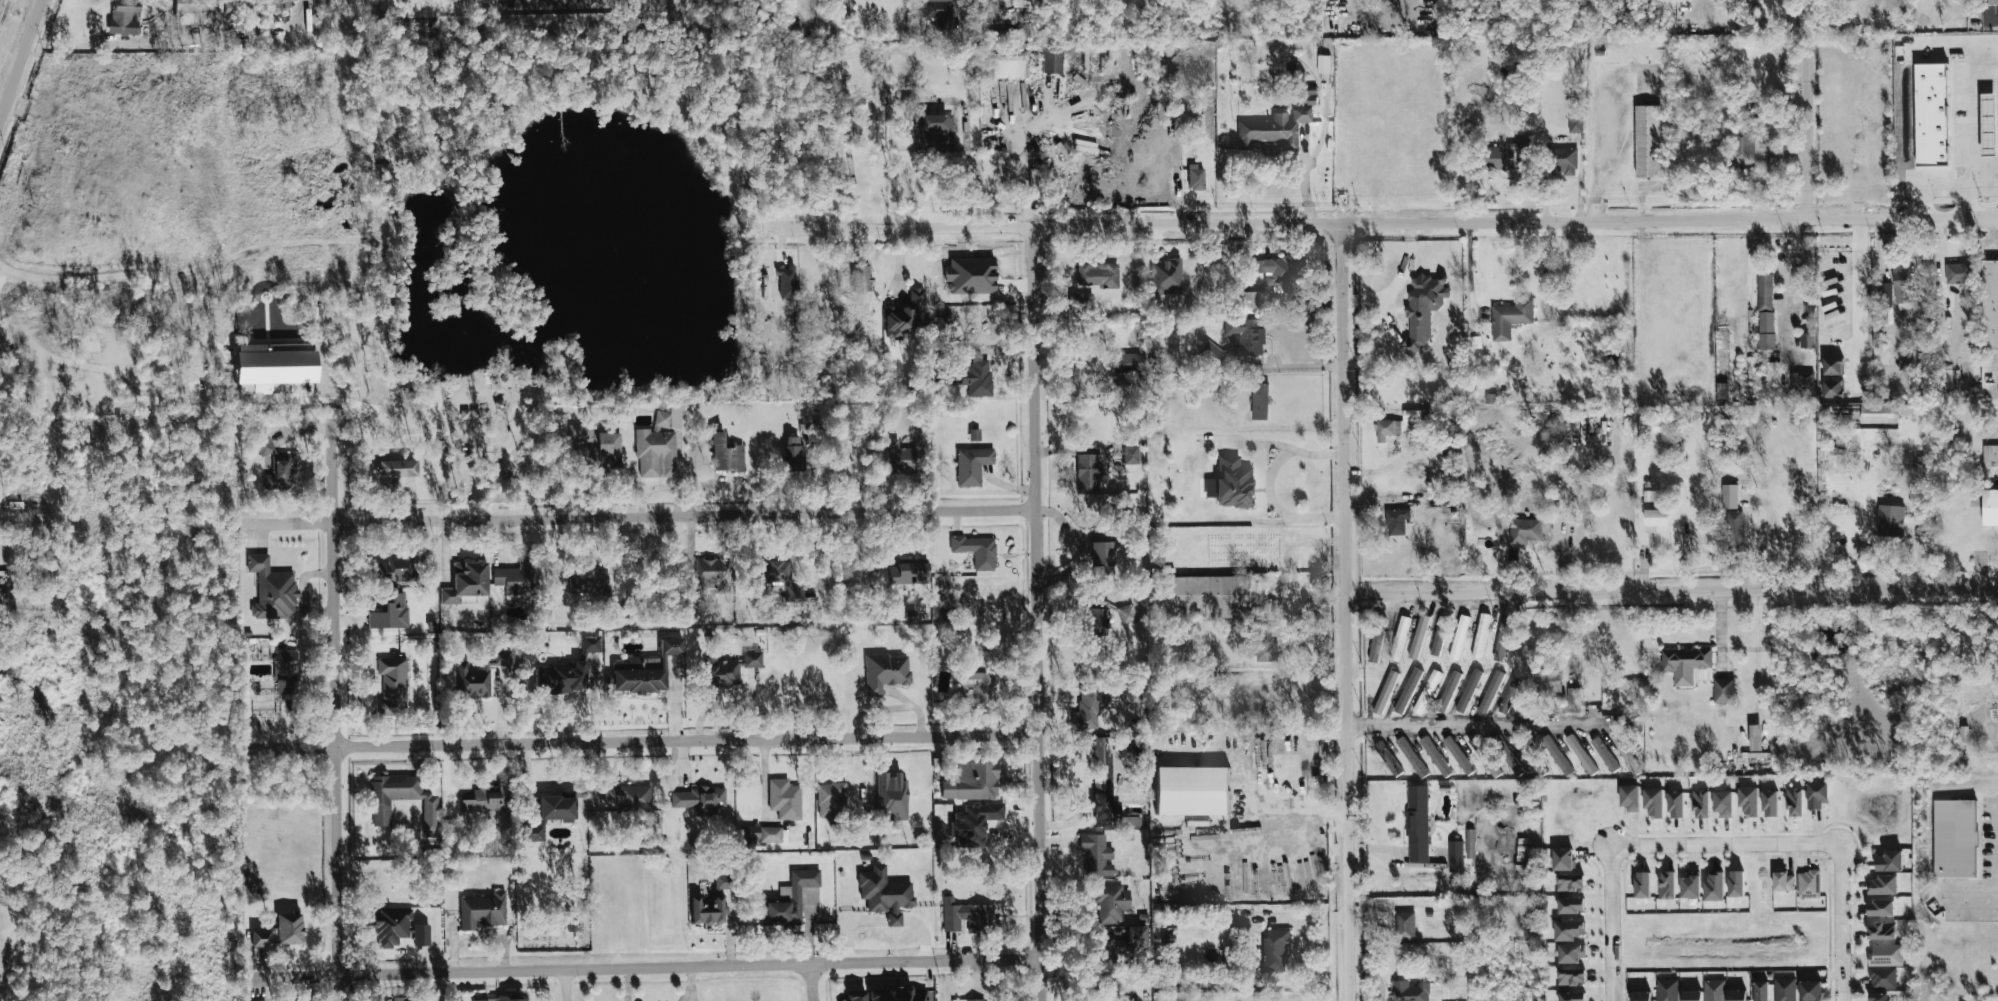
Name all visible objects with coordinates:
building: (1990, 2)
building: (278, 6)
road: (304, 6)
building: (933, 10)
building: (192, 11)
building: (249, 15)
building: (123, 17)
building: (1002, 36)
road: (101, 42)
road: (20, 57)
building: (1051, 60)
building: (1323, 64)
building: (1005, 66)
road: (1808, 109)
building: (1575, 122)
building: (1273, 128)
building: (1646, 140)
building: (1742, 145)
building: (1508, 153)
building: (1562, 160)
road: (1023, 161)
building: (1196, 177)
road: (1375, 222)
road: (1993, 234)
building: (1271, 268)
building: (1958, 272)
building: (1097, 273)
building: (970, 275)
building: (861, 278)
building: (787, 282)
building: (1901, 286)
road: (1788, 287)
building: (1883, 293)
road: (1864, 299)
building: (1250, 301)
building: (1081, 302)
building: (1989, 304)
building: (1423, 309)
building: (1765, 311)
building: (906, 314)
building: (1510, 317)
building: (1245, 335)
building: (1807, 340)
road: (199, 341)
building: (1212, 352)
building: (1127, 361)
building: (1833, 365)
building: (276, 368)
building: (973, 378)
building: (1802, 381)
building: (1833, 388)
building: (1260, 401)
building: (1879, 413)
building: (1395, 425)
building: (1651, 429)
building: (974, 434)
building: (583, 435)
building: (264, 444)
building: (659, 444)
building: (609, 447)
building: (793, 452)
building: (725, 453)
building: (1990, 455)
building: (900, 456)
building: (1130, 458)
building: (971, 464)
building: (397, 467)
building: (1087, 472)
building: (281, 473)
building: (1233, 482)
road: (1268, 483)
building: (1652, 495)
building: (1729, 496)
building: (1990, 509)
road: (674, 517)
building: (1890, 520)
building: (1396, 521)
building: (1658, 526)
building: (1735, 529)
building: (1525, 530)
building: (976, 550)
building: (1100, 554)
building: (393, 568)
building: (907, 573)
building: (710, 574)
building: (778, 577)
building: (515, 578)
building: (587, 580)
building: (465, 581)
building: (272, 589)
road: (1672, 592)
building: (1208, 597)
building: (695, 604)
building: (1126, 612)
road: (1346, 612)
building: (390, 613)
road: (1039, 613)
building: (1098, 619)
building: (1439, 635)
building: (1480, 635)
building: (1418, 636)
building: (1459, 637)
building: (1399, 638)
building: (1502, 638)
building: (1267, 642)
building: (591, 643)
building: (1375, 647)
building: (285, 664)
building: (1687, 665)
building: (729, 668)
building: (644, 669)
building: (885, 671)
building: (477, 676)
building: (561, 677)
building: (1548, 681)
building: (391, 686)
building: (969, 688)
building: (1407, 690)
building: (1723, 690)
building: (1385, 691)
building: (1427, 691)
building: (1448, 691)
building: (1469, 691)
building: (1490, 691)
building: (1509, 695)
building: (1114, 697)
building: (1573, 700)
road: (337, 706)
building: (1086, 709)
road: (1477, 727)
building: (1755, 737)
road: (651, 752)
building: (1581, 754)
building: (1604, 754)
building: (1626, 754)
building: (1458, 755)
building: (1557, 755)
building: (1411, 757)
building: (1388, 758)
building: (972, 780)
building: (1102, 781)
building: (1192, 789)
building: (1817, 795)
building: (627, 796)
building: (891, 796)
building: (698, 797)
building: (401, 798)
building: (784, 798)
building: (1629, 798)
building: (486, 799)
building: (1749, 800)
building: (830, 801)
building: (1654, 801)
building: (1770, 802)
building: (1794, 802)
building: (1723, 803)
building: (1700, 804)
building: (1676, 805)
road: (1302, 810)
building: (549, 814)
building: (1131, 821)
building: (974, 822)
building: (1417, 823)
building: (763, 834)
building: (1955, 840)
building: (1471, 843)
road: (1724, 847)
building: (1095, 854)
building: (1455, 856)
building: (1562, 859)
building: (1889, 860)
building: (722, 881)
building: (1783, 881)
building: (1570, 882)
building: (1808, 883)
building: (1642, 884)
building: (1666, 884)
building: (1736, 884)
building: (1882, 884)
building: (1690, 885)
building: (1714, 886)
building: (884, 893)
road: (1973, 896)
building: (791, 897)
building: (1111, 902)
building: (1570, 905)
building: (1880, 907)
building: (482, 910)
building: (708, 910)
building: (969, 916)
road: (1300, 918)
road: (1611, 923)
road: (1838, 924)
building: (1405, 925)
building: (398, 928)
building: (1568, 929)
building: (280, 931)
building: (1880, 931)
building: (1116, 947)
building: (1275, 951)
building: (1571, 952)
building: (1885, 954)
road: (679, 971)
building: (1571, 976)
building: (1882, 977)
road: (814, 985)
road: (567, 987)
road: (627, 987)
building: (1784, 989)
building: (1667, 990)
building: (1714, 990)
building: (1810, 990)
building: (1414, 991)
building: (1761, 991)
building: (888, 994)
building: (1691, 995)
building: (1737, 995)
building: (1572, 996)
building: (1641, 996)
building: (1878, 996)
building: (400, 999)
building: (512, 999)
building: (968, 999)

